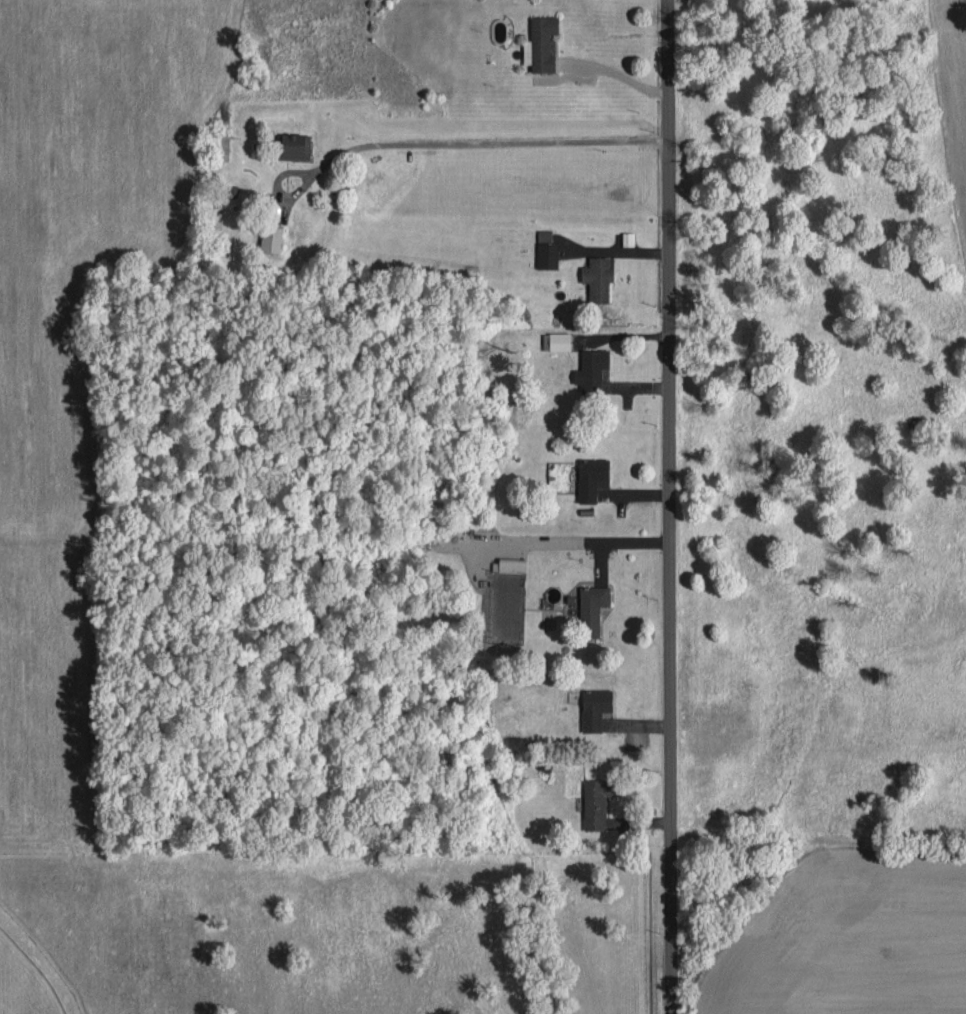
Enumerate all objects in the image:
building: (542, 43)
building: (296, 146)
road: (438, 170)
building: (273, 237)
building: (629, 237)
building: (547, 250)
building: (599, 278)
building: (558, 340)
building: (593, 370)
building: (592, 476)
road: (669, 507)
building: (513, 564)
building: (593, 608)
building: (596, 707)
building: (597, 802)

